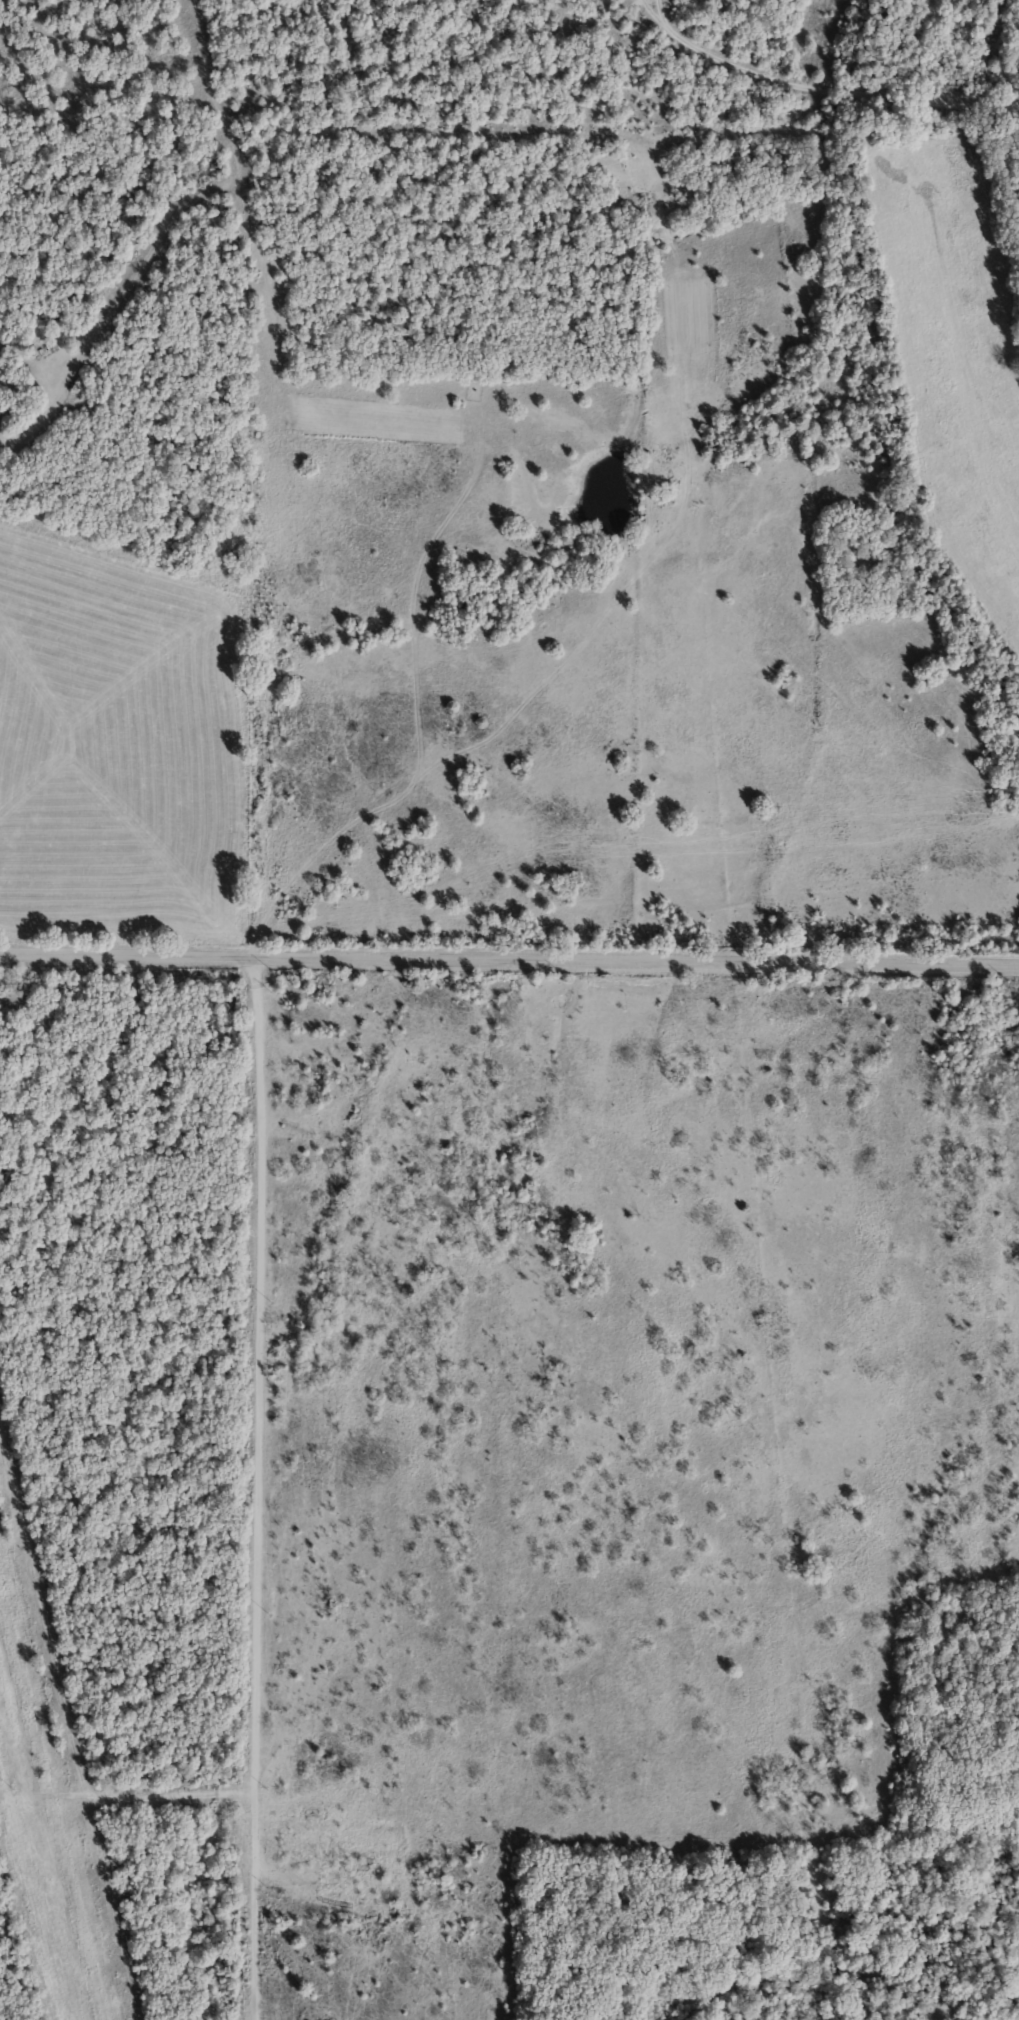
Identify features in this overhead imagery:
road: (654, 12)
road: (663, 12)
road: (834, 90)
road: (509, 961)
road: (254, 1500)

